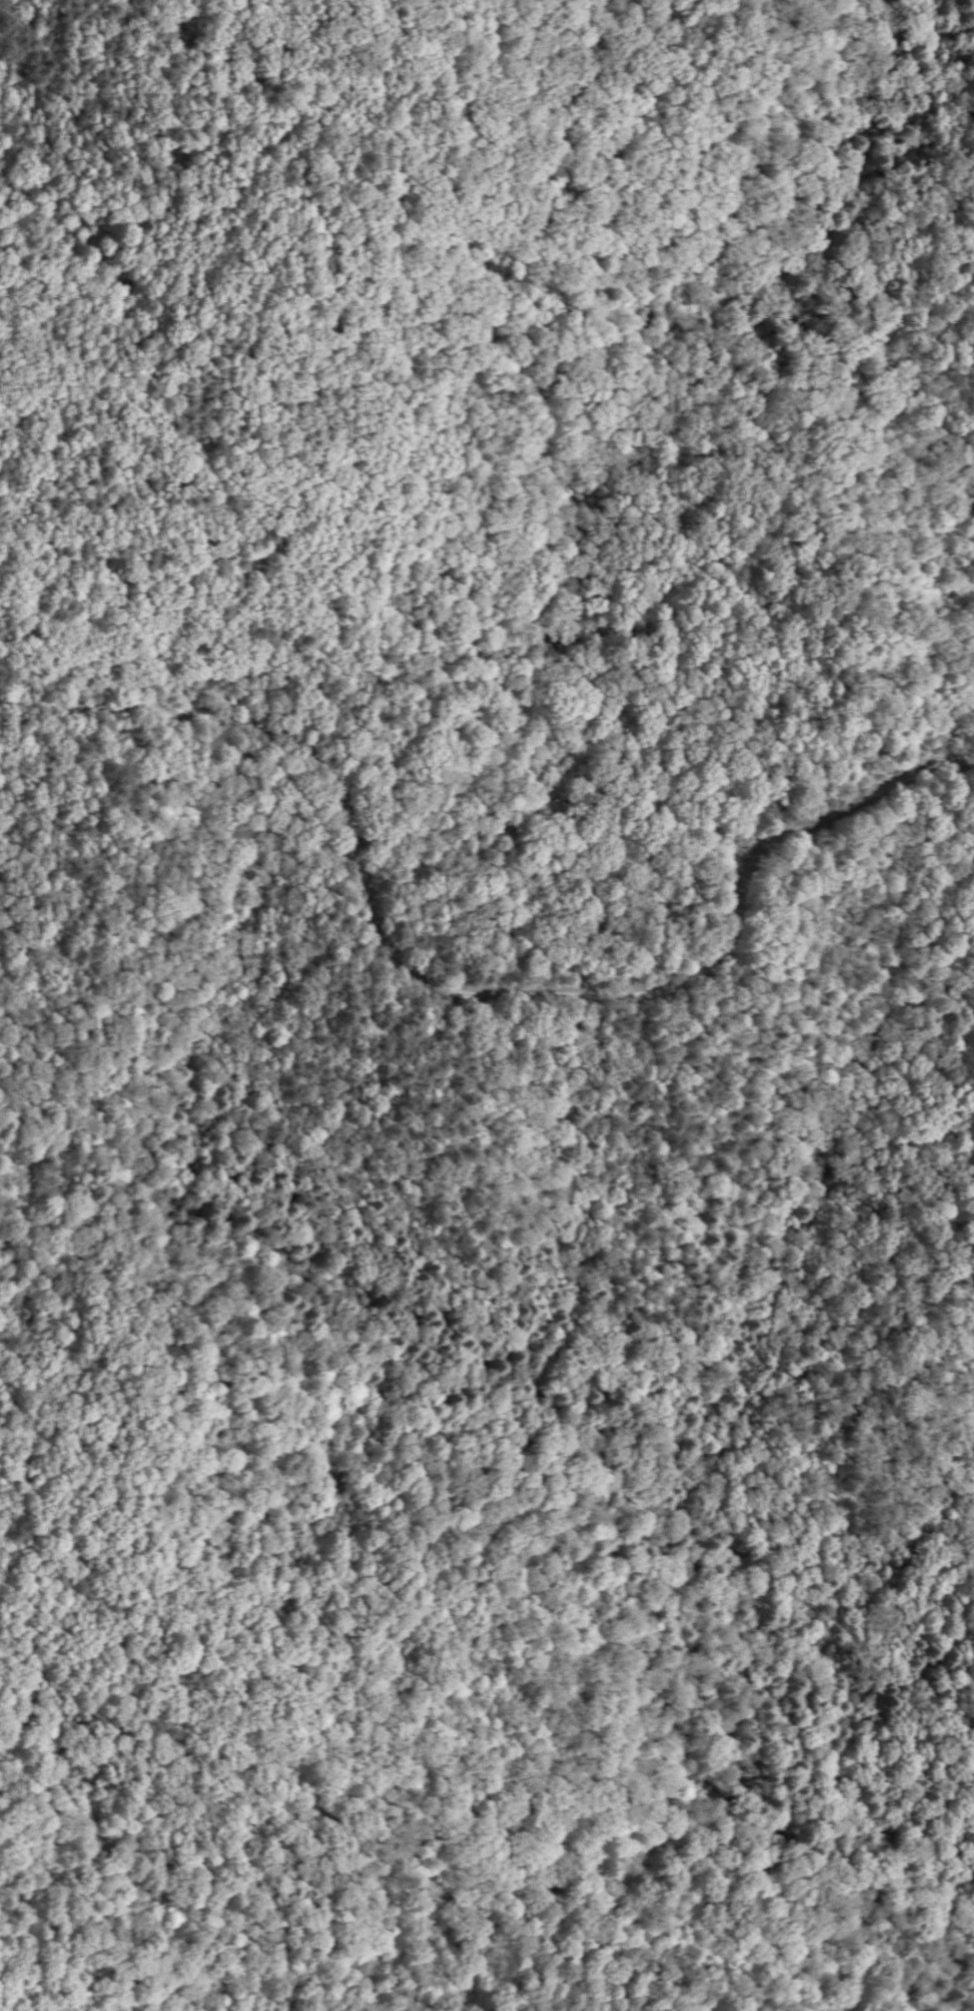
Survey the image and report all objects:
road: (462, 992)

